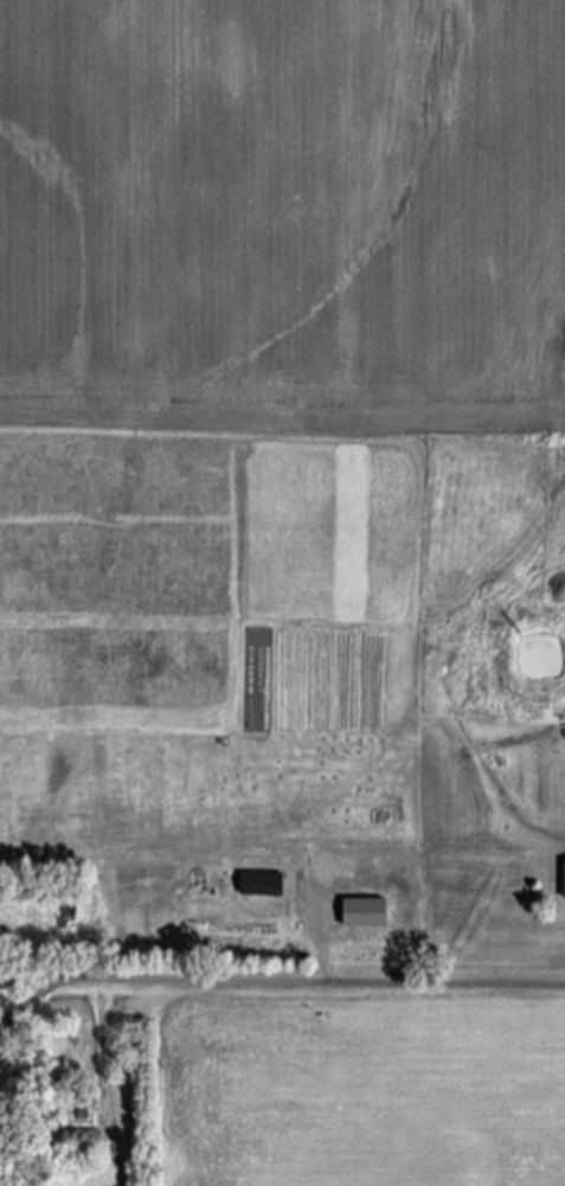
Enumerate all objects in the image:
building: (265, 884)
building: (564, 886)
building: (368, 911)
road: (321, 981)
road: (33, 995)

